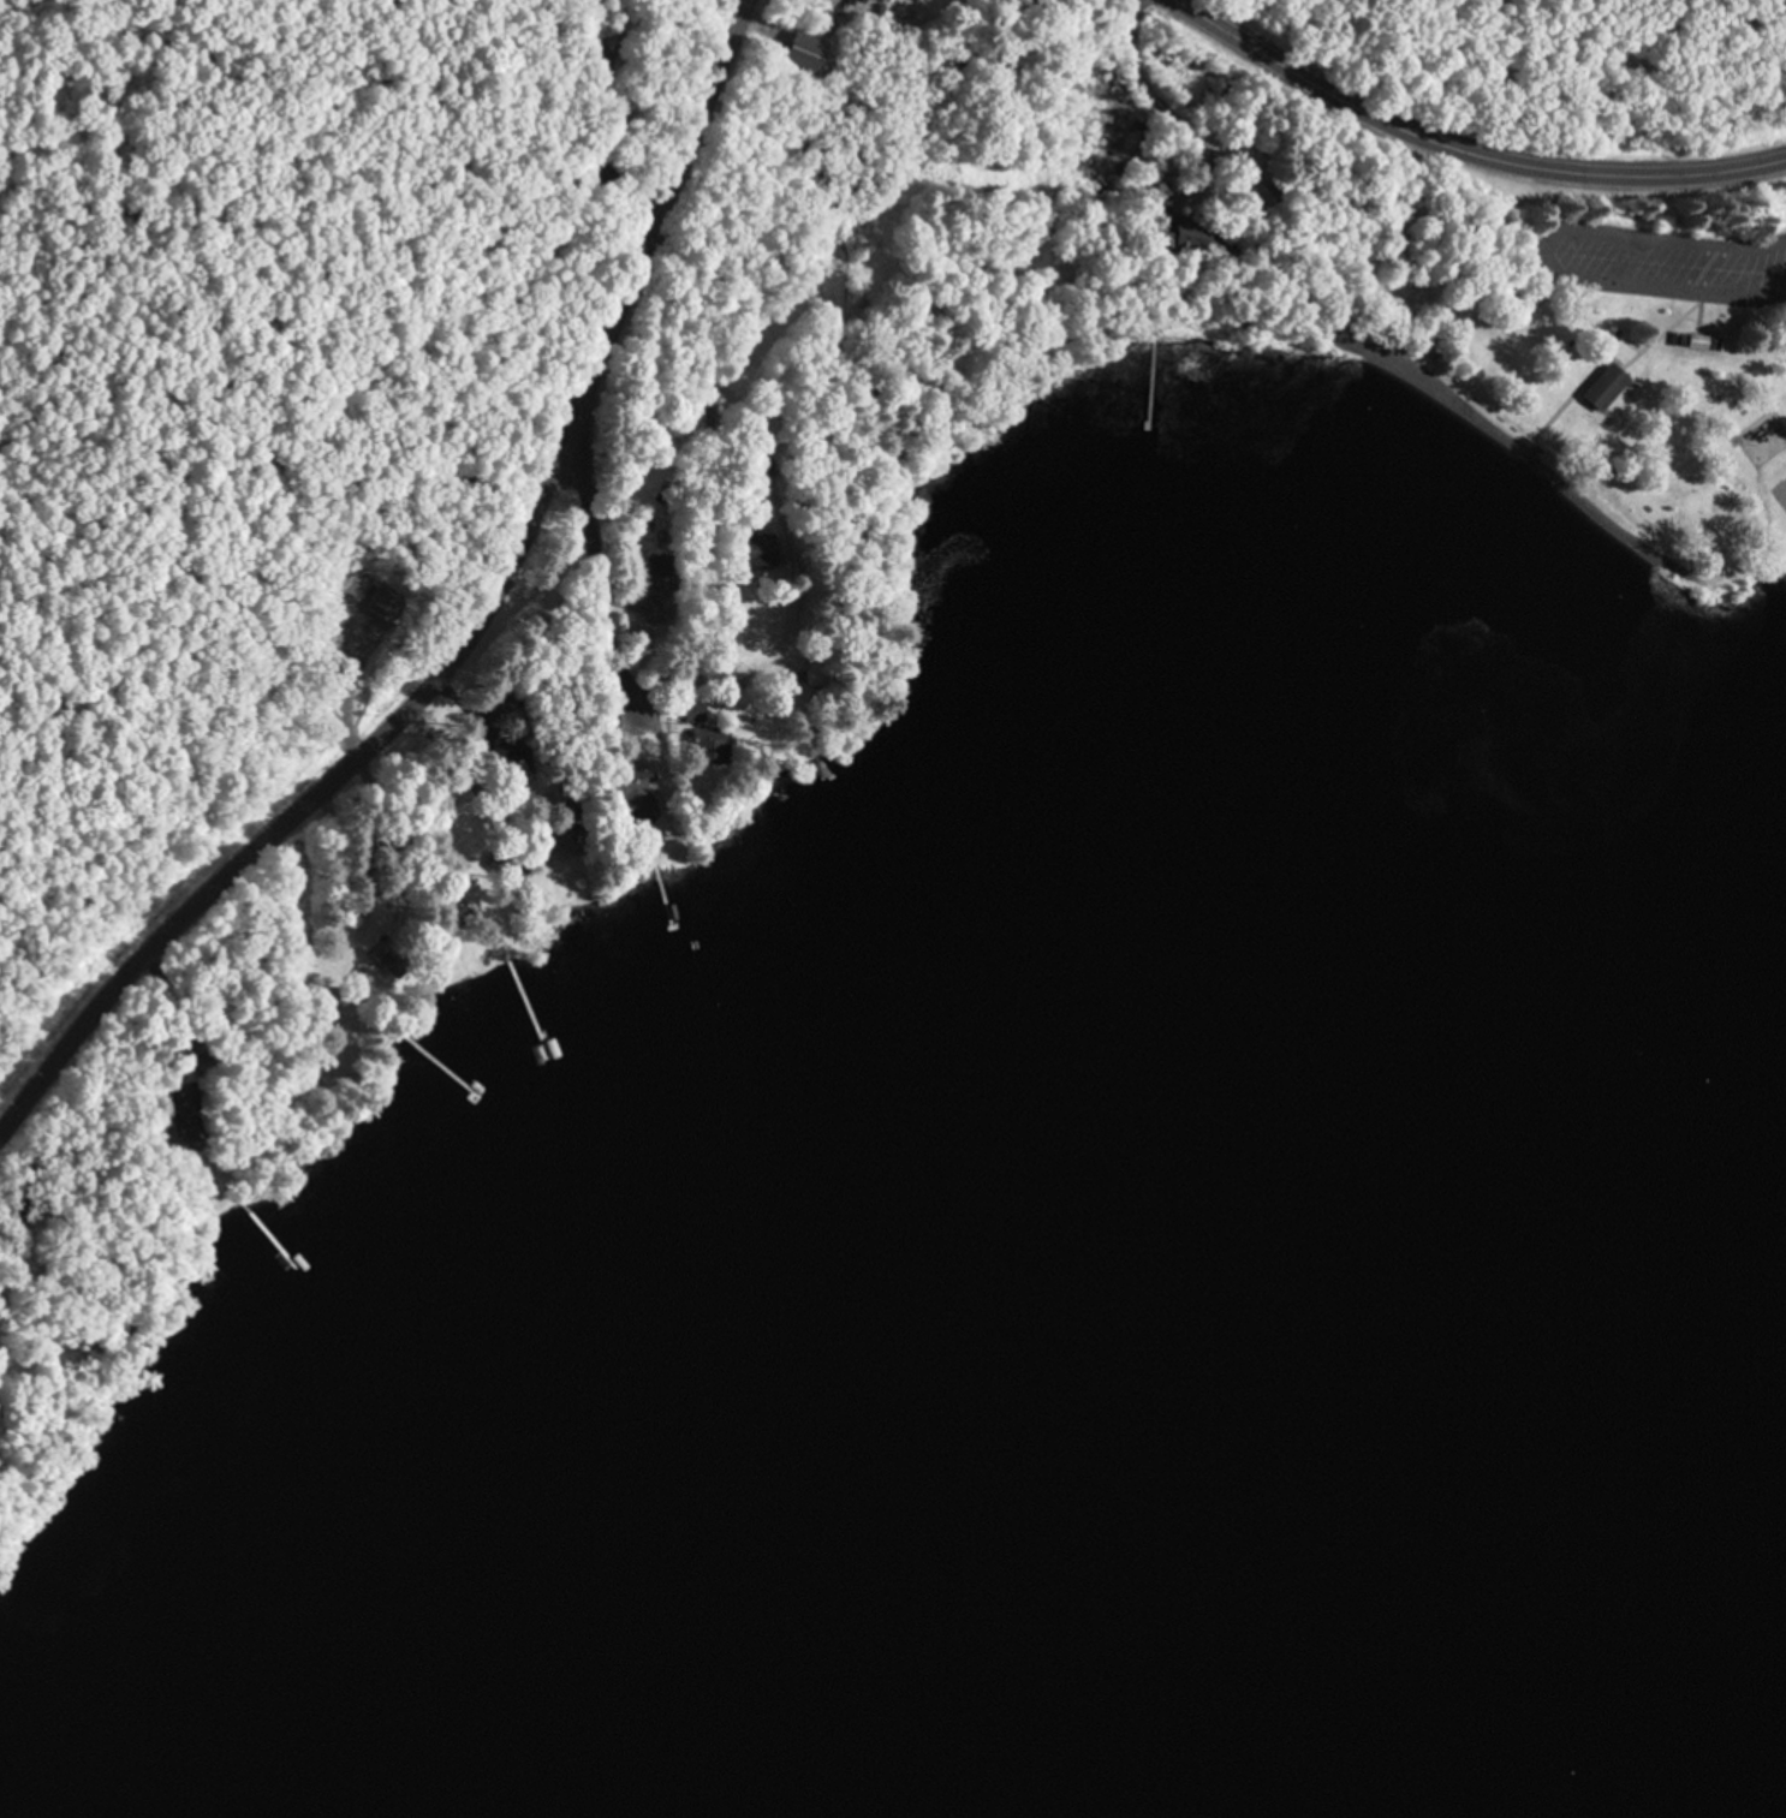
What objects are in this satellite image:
building: (919, 1)
building: (888, 2)
building: (601, 24)
building: (806, 55)
road: (1465, 150)
building: (1611, 392)
park: (1782, 494)
building: (662, 576)
road: (482, 638)
building: (697, 716)

